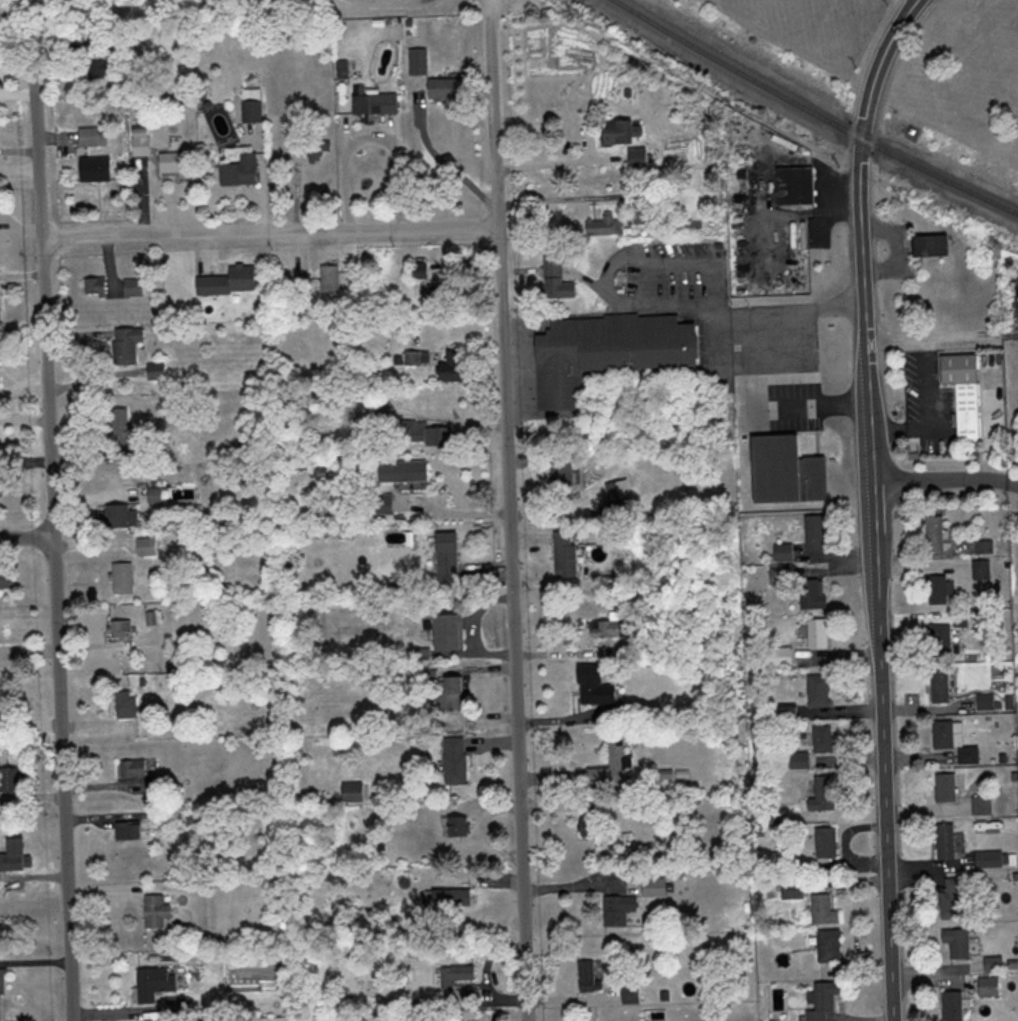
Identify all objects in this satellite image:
building: (101, 68)
building: (446, 87)
building: (377, 102)
building: (253, 104)
railway: (815, 111)
building: (624, 130)
building: (93, 136)
road: (370, 138)
building: (143, 142)
building: (642, 156)
building: (178, 163)
road: (555, 163)
building: (97, 168)
building: (242, 170)
building: (792, 185)
road: (555, 199)
building: (605, 225)
road: (270, 233)
building: (927, 245)
building: (420, 270)
building: (331, 278)
building: (558, 279)
building: (231, 281)
building: (303, 282)
building: (97, 287)
building: (135, 287)
building: (447, 292)
building: (1016, 297)
building: (0, 305)
road: (739, 314)
road: (1003, 333)
road: (928, 336)
road: (932, 341)
building: (128, 344)
building: (605, 352)
building: (414, 358)
building: (455, 366)
building: (158, 369)
building: (960, 390)
road: (929, 402)
road: (777, 406)
building: (125, 433)
road: (886, 433)
building: (437, 435)
building: (405, 470)
building: (783, 470)
building: (558, 479)
road: (946, 481)
building: (156, 494)
building: (615, 495)
building: (385, 503)
road: (875, 503)
building: (121, 514)
road: (512, 518)
building: (812, 532)
building: (932, 533)
road: (25, 535)
road: (51, 540)
building: (147, 545)
building: (781, 552)
building: (450, 555)
building: (561, 555)
building: (779, 576)
building: (7, 577)
building: (123, 578)
building: (937, 589)
building: (809, 594)
building: (121, 628)
building: (603, 629)
building: (450, 632)
building: (815, 634)
building: (939, 637)
building: (937, 684)
building: (587, 685)
building: (816, 691)
building: (453, 693)
building: (127, 704)
building: (3, 711)
building: (820, 738)
building: (951, 739)
building: (457, 759)
building: (796, 759)
building: (610, 764)
building: (134, 768)
building: (11, 787)
building: (943, 787)
building: (354, 791)
building: (819, 794)
building: (980, 805)
building: (586, 823)
building: (457, 826)
building: (130, 830)
building: (943, 841)
building: (823, 842)
building: (18, 854)
building: (651, 886)
building: (789, 889)
building: (454, 897)
building: (949, 899)
building: (616, 909)
building: (821, 910)
building: (158, 911)
building: (955, 943)
building: (827, 945)
building: (459, 974)
building: (587, 977)
building: (160, 981)
building: (986, 986)
building: (628, 993)
building: (821, 1000)
building: (951, 1006)

